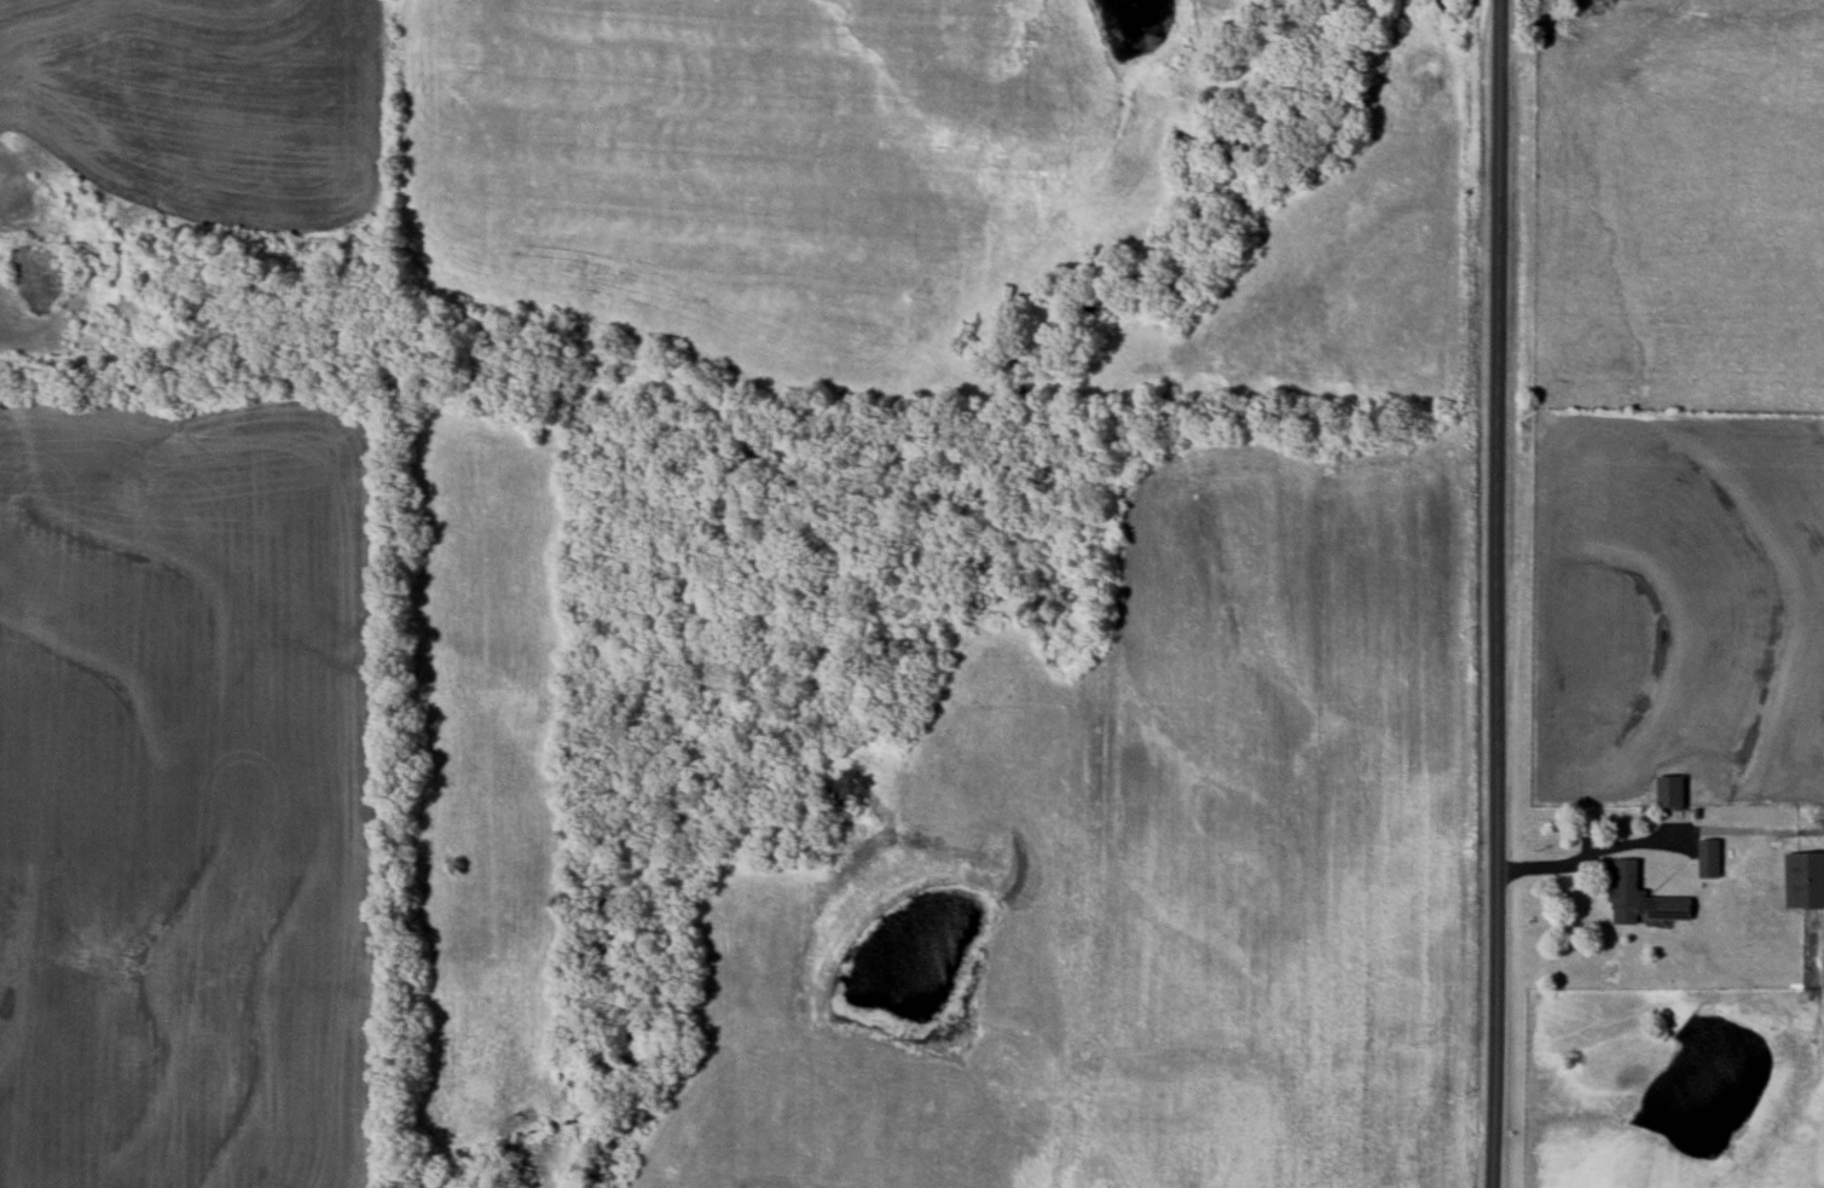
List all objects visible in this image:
road: (1498, 593)
building: (1670, 795)
building: (1709, 858)
building: (1805, 880)
building: (1638, 897)

